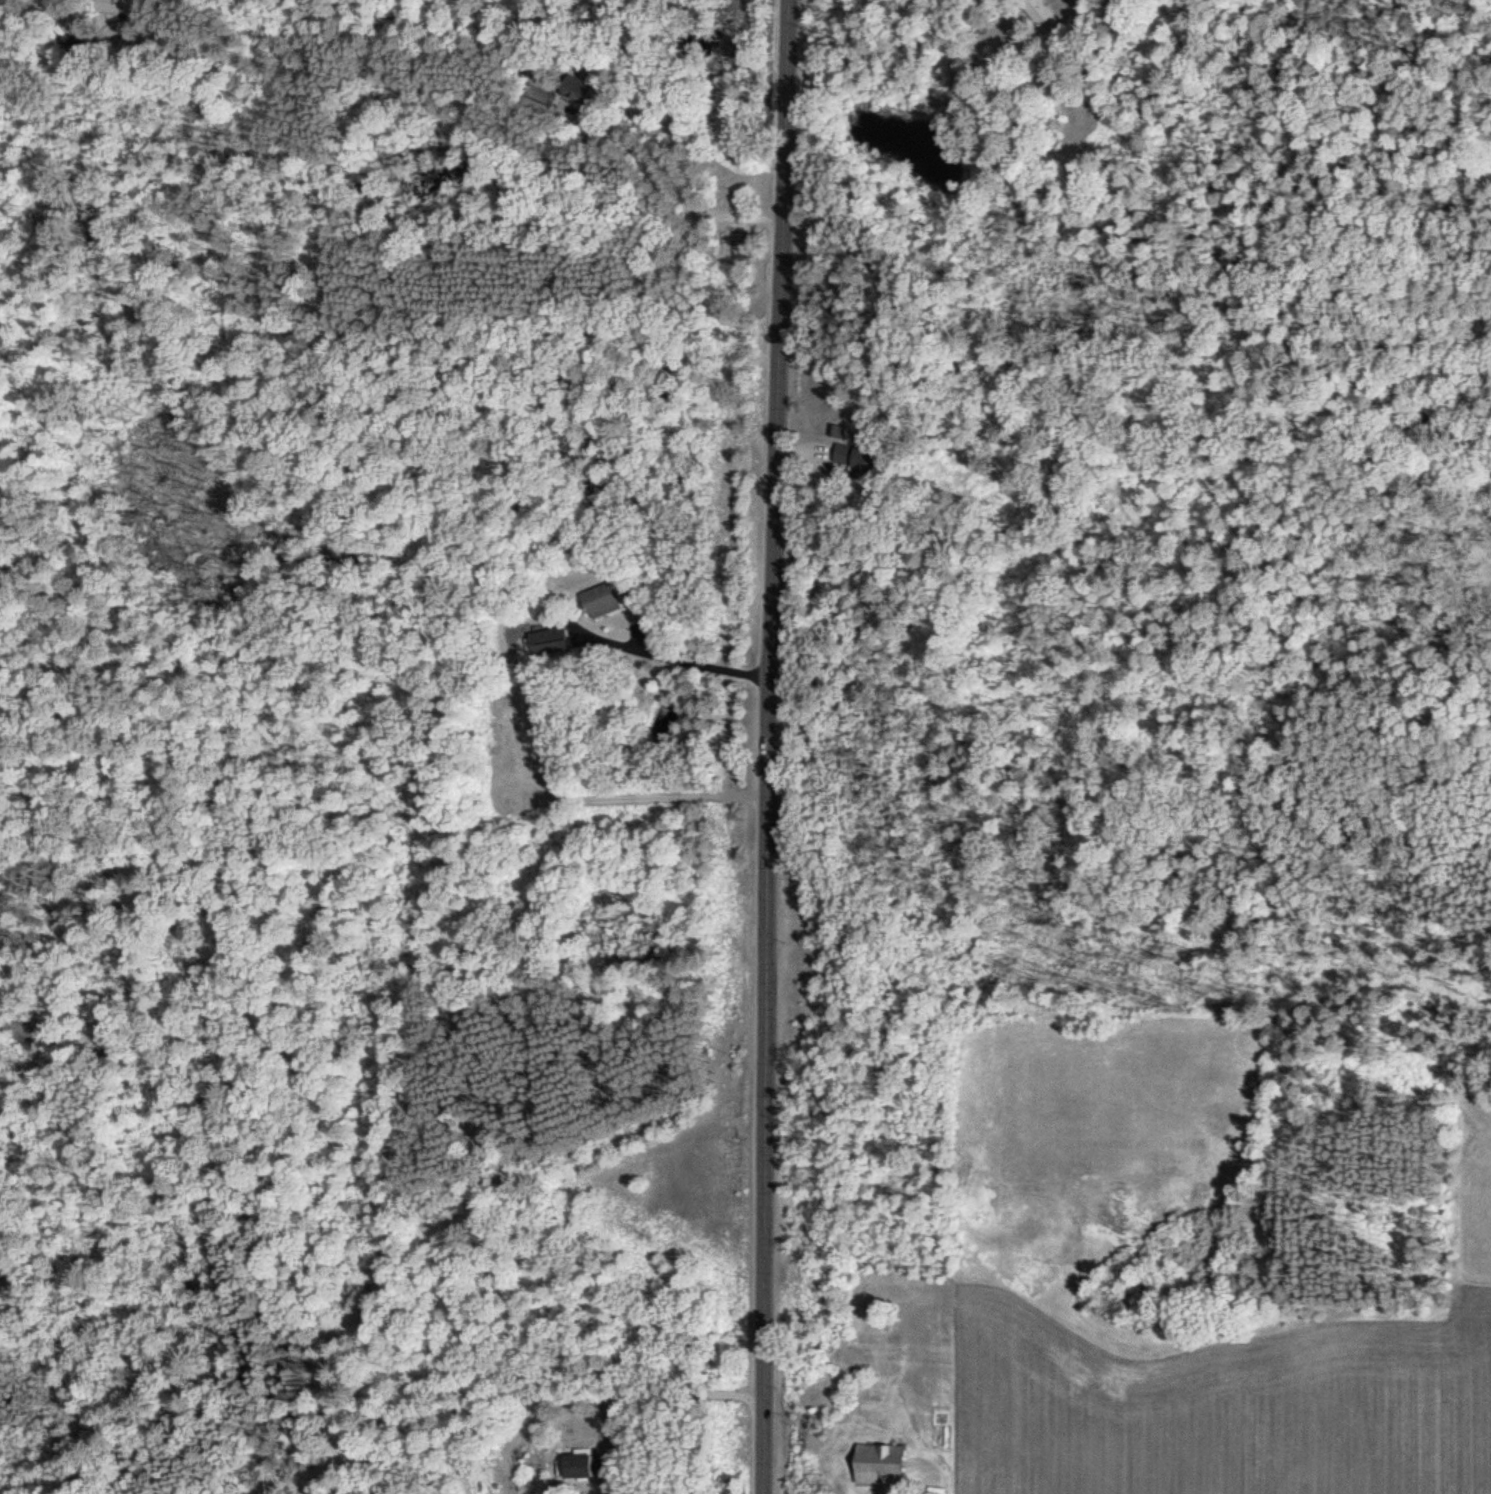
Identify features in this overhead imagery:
building: (114, 5)
building: (1039, 9)
building: (577, 87)
building: (540, 98)
road: (663, 185)
building: (857, 458)
building: (603, 597)
road: (771, 746)
road: (659, 1390)
building: (879, 1460)
building: (589, 1463)

